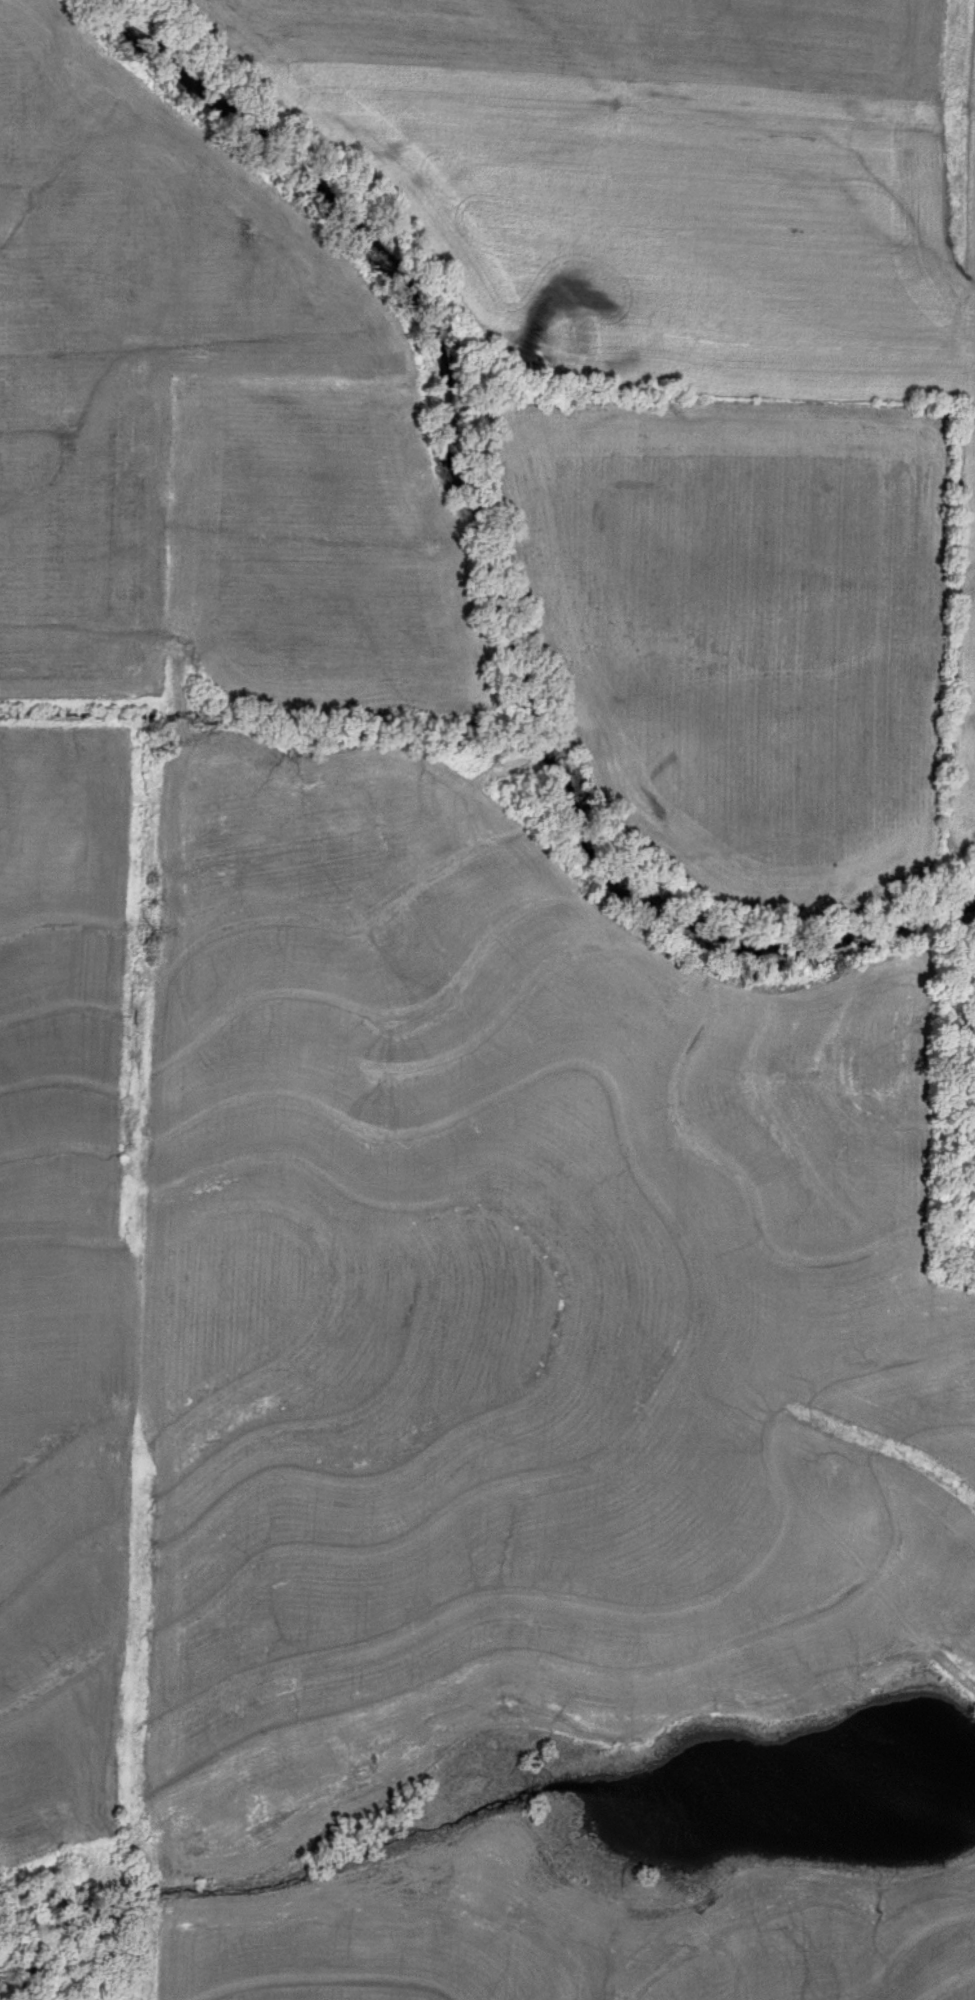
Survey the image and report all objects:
river: (757, 949)

